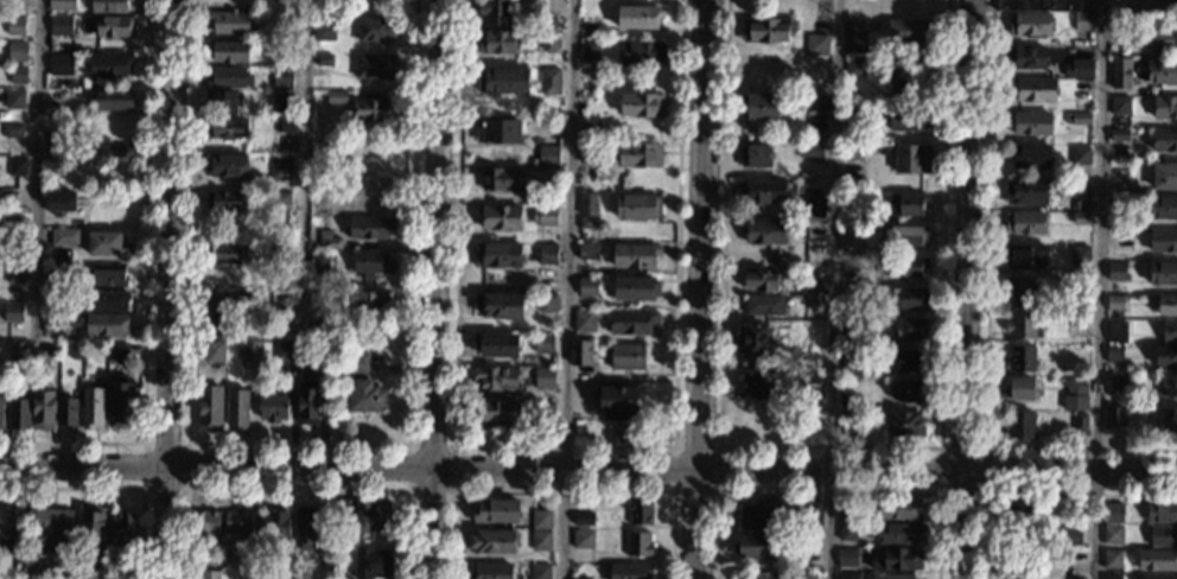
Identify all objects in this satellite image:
building: (63, 5)
building: (1038, 5)
road: (1152, 5)
building: (110, 6)
building: (497, 12)
building: (640, 17)
building: (229, 21)
building: (1084, 21)
building: (546, 23)
building: (1030, 24)
building: (15, 25)
building: (62, 25)
building: (116, 26)
building: (591, 26)
building: (855, 26)
building: (375, 28)
building: (765, 30)
building: (325, 31)
building: (909, 31)
building: (1164, 39)
building: (497, 42)
building: (548, 42)
building: (816, 44)
building: (590, 49)
building: (19, 51)
building: (231, 51)
building: (641, 52)
building: (1028, 56)
building: (1083, 56)
building: (327, 59)
building: (62, 64)
building: (110, 64)
building: (375, 64)
building: (764, 66)
building: (854, 68)
building: (1079, 68)
building: (1162, 71)
building: (1120, 72)
building: (19, 75)
building: (229, 78)
building: (504, 79)
building: (282, 81)
building: (551, 81)
building: (908, 81)
building: (814, 83)
building: (587, 85)
building: (1033, 89)
building: (1082, 89)
building: (336, 97)
building: (15, 100)
building: (115, 100)
building: (222, 102)
building: (822, 102)
building: (282, 103)
building: (642, 104)
building: (762, 104)
building: (1120, 107)
building: (1165, 107)
building: (374, 109)
building: (853, 117)
building: (909, 119)
building: (1079, 119)
building: (287, 123)
building: (1030, 123)
building: (227, 128)
building: (13, 131)
building: (500, 131)
building: (590, 132)
building: (1120, 135)
building: (1164, 140)
building: (94, 145)
building: (58, 147)
building: (810, 152)
building: (853, 152)
building: (116, 153)
building: (590, 153)
building: (641, 154)
building: (548, 155)
building: (756, 155)
building: (1031, 155)
building: (1080, 155)
building: (912, 159)
building: (225, 165)
building: (18, 166)
building: (280, 168)
road: (304, 168)
road: (36, 171)
building: (1120, 171)
building: (816, 174)
building: (1165, 176)
building: (501, 178)
building: (796, 189)
building: (1079, 189)
building: (373, 191)
building: (765, 191)
building: (1026, 191)
building: (535, 197)
building: (280, 198)
building: (225, 199)
building: (853, 201)
building: (63, 203)
building: (588, 203)
building: (905, 203)
building: (637, 206)
building: (813, 206)
building: (336, 208)
building: (1164, 208)
building: (500, 216)
building: (545, 216)
building: (1081, 218)
building: (72, 222)
building: (1025, 222)
building: (587, 223)
building: (1111, 223)
building: (14, 224)
building: (370, 227)
building: (763, 230)
building: (905, 235)
road: (968, 235)
building: (63, 236)
building: (852, 238)
building: (329, 240)
building: (1120, 240)
building: (1163, 240)
building: (106, 243)
building: (588, 250)
building: (228, 253)
building: (498, 253)
building: (548, 254)
building: (1080, 254)
building: (635, 255)
building: (1028, 256)
building: (66, 257)
building: (319, 263)
building: (370, 263)
building: (904, 266)
building: (1118, 272)
building: (1163, 272)
building: (15, 273)
building: (110, 275)
building: (57, 279)
building: (761, 279)
building: (280, 281)
building: (588, 286)
building: (813, 286)
building: (636, 287)
road: (166, 288)
road: (564, 288)
road: (700, 288)
road: (833, 288)
road: (434, 289)
road: (1098, 289)
building: (1020, 291)
road: (144, 292)
building: (851, 292)
building: (910, 297)
building: (227, 299)
building: (1077, 299)
building: (107, 300)
building: (318, 301)
building: (373, 301)
building: (548, 303)
building: (1115, 303)
building: (500, 304)
building: (1166, 304)
building: (765, 305)
building: (14, 312)
road: (986, 319)
building: (1077, 319)
building: (585, 320)
building: (631, 322)
building: (52, 324)
building: (852, 324)
building: (108, 325)
building: (227, 325)
building: (278, 325)
building: (1023, 325)
building: (909, 327)
building: (1169, 331)
building: (318, 332)
building: (1118, 332)
building: (755, 339)
building: (543, 343)
building: (500, 345)
building: (600, 345)
building: (250, 350)
building: (287, 350)
building: (119, 351)
building: (214, 351)
building: (323, 351)
building: (581, 352)
building: (75, 354)
building: (1114, 354)
building: (1166, 355)
building: (629, 356)
building: (1023, 357)
building: (43, 360)
building: (908, 360)
building: (852, 361)
building: (358, 362)
building: (812, 362)
building: (209, 367)
building: (809, 376)
building: (545, 377)
building: (496, 378)
building: (1120, 382)
building: (765, 383)
building: (1170, 386)
building: (1076, 387)
building: (1019, 388)
building: (908, 390)
building: (367, 396)
building: (545, 396)
building: (120, 399)
building: (815, 399)
building: (850, 399)
building: (1121, 399)
building: (308, 401)
building: (619, 401)
building: (1075, 402)
building: (272, 406)
building: (93, 407)
building: (1, 408)
building: (43, 408)
building: (210, 408)
building: (237, 409)
building: (66, 412)
building: (495, 412)
building: (543, 412)
building: (20, 413)
building: (1114, 416)
building: (1169, 419)
building: (850, 421)
building: (1080, 421)
building: (905, 424)
building: (1020, 424)
road: (297, 444)
road: (561, 446)
road: (828, 447)
building: (1175, 466)
road: (482, 472)
road: (1071, 472)
road: (114, 489)
road: (140, 489)
road: (294, 489)
road: (407, 490)
road: (673, 490)
road: (561, 491)
road: (826, 492)
road: (939, 495)
road: (1038, 496)
building: (342, 507)
building: (898, 509)
building: (497, 510)
building: (640, 511)
building: (847, 513)
building: (1162, 513)
building: (809, 514)
building: (1113, 514)
building: (373, 515)
building: (758, 516)
building: (584, 518)
building: (541, 520)
building: (1019, 520)
road: (26, 522)
building: (206, 522)
building: (240, 523)
building: (275, 523)
road: (963, 524)
building: (306, 526)
building: (49, 527)
building: (94, 530)
building: (123, 530)
building: (847, 532)
building: (898, 532)
building: (1113, 534)
building: (1163, 535)
building: (6, 536)
building: (1073, 536)
building: (583, 539)
building: (541, 540)
building: (494, 541)
building: (638, 543)
building: (756, 546)
building: (804, 558)
building: (847, 558)
building: (897, 559)
building: (1112, 559)
building: (1157, 560)
building: (371, 562)
building: (1016, 566)
building: (247, 571)
building: (490, 571)
building: (541, 571)
building: (630, 571)
building: (66, 574)
building: (209, 574)
building: (287, 574)
building: (120, 575)
building: (755, 575)
building: (806, 575)
building: (848, 575)
building: (97, 577)
building: (892, 577)
building: (1112, 577)
building: (1157, 577)
building: (343, 578)
building: (581, 578)

